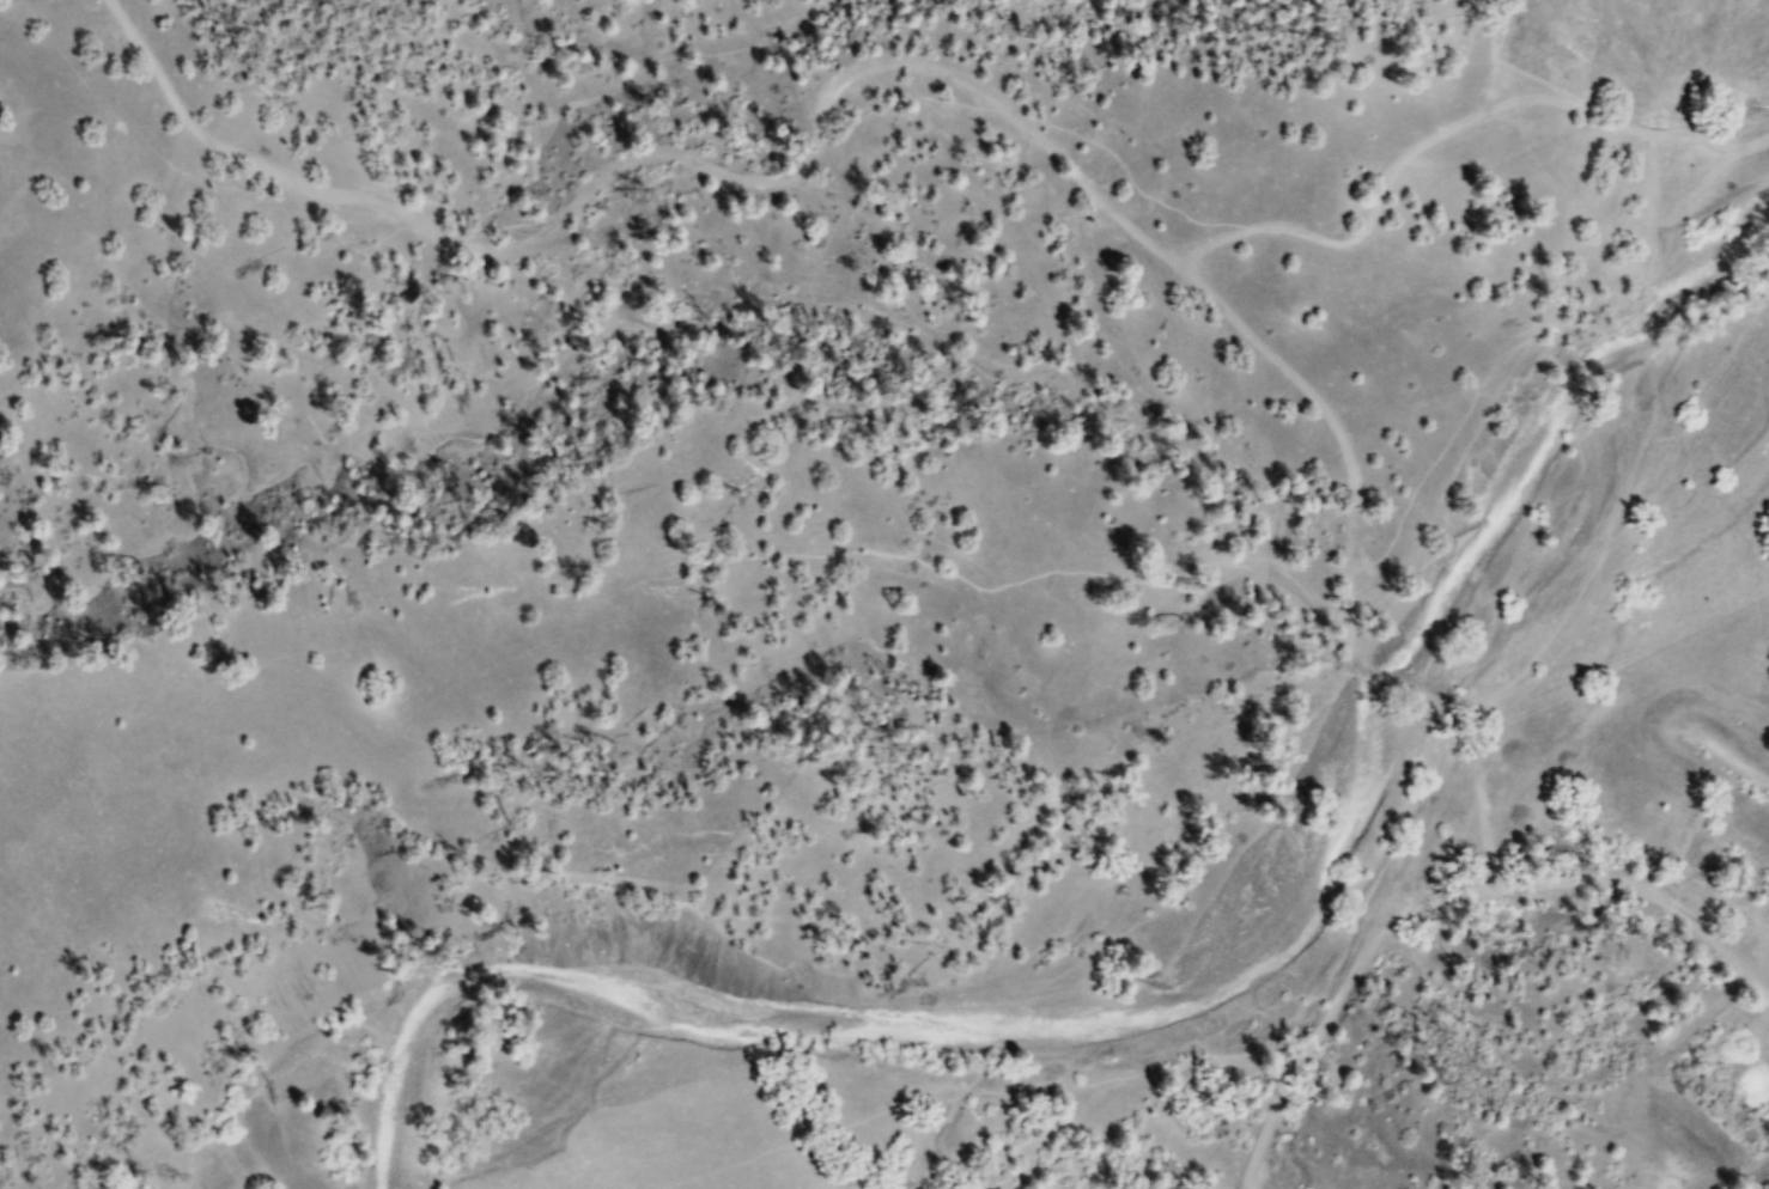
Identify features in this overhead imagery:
road: (1441, 939)
river: (1184, 975)

